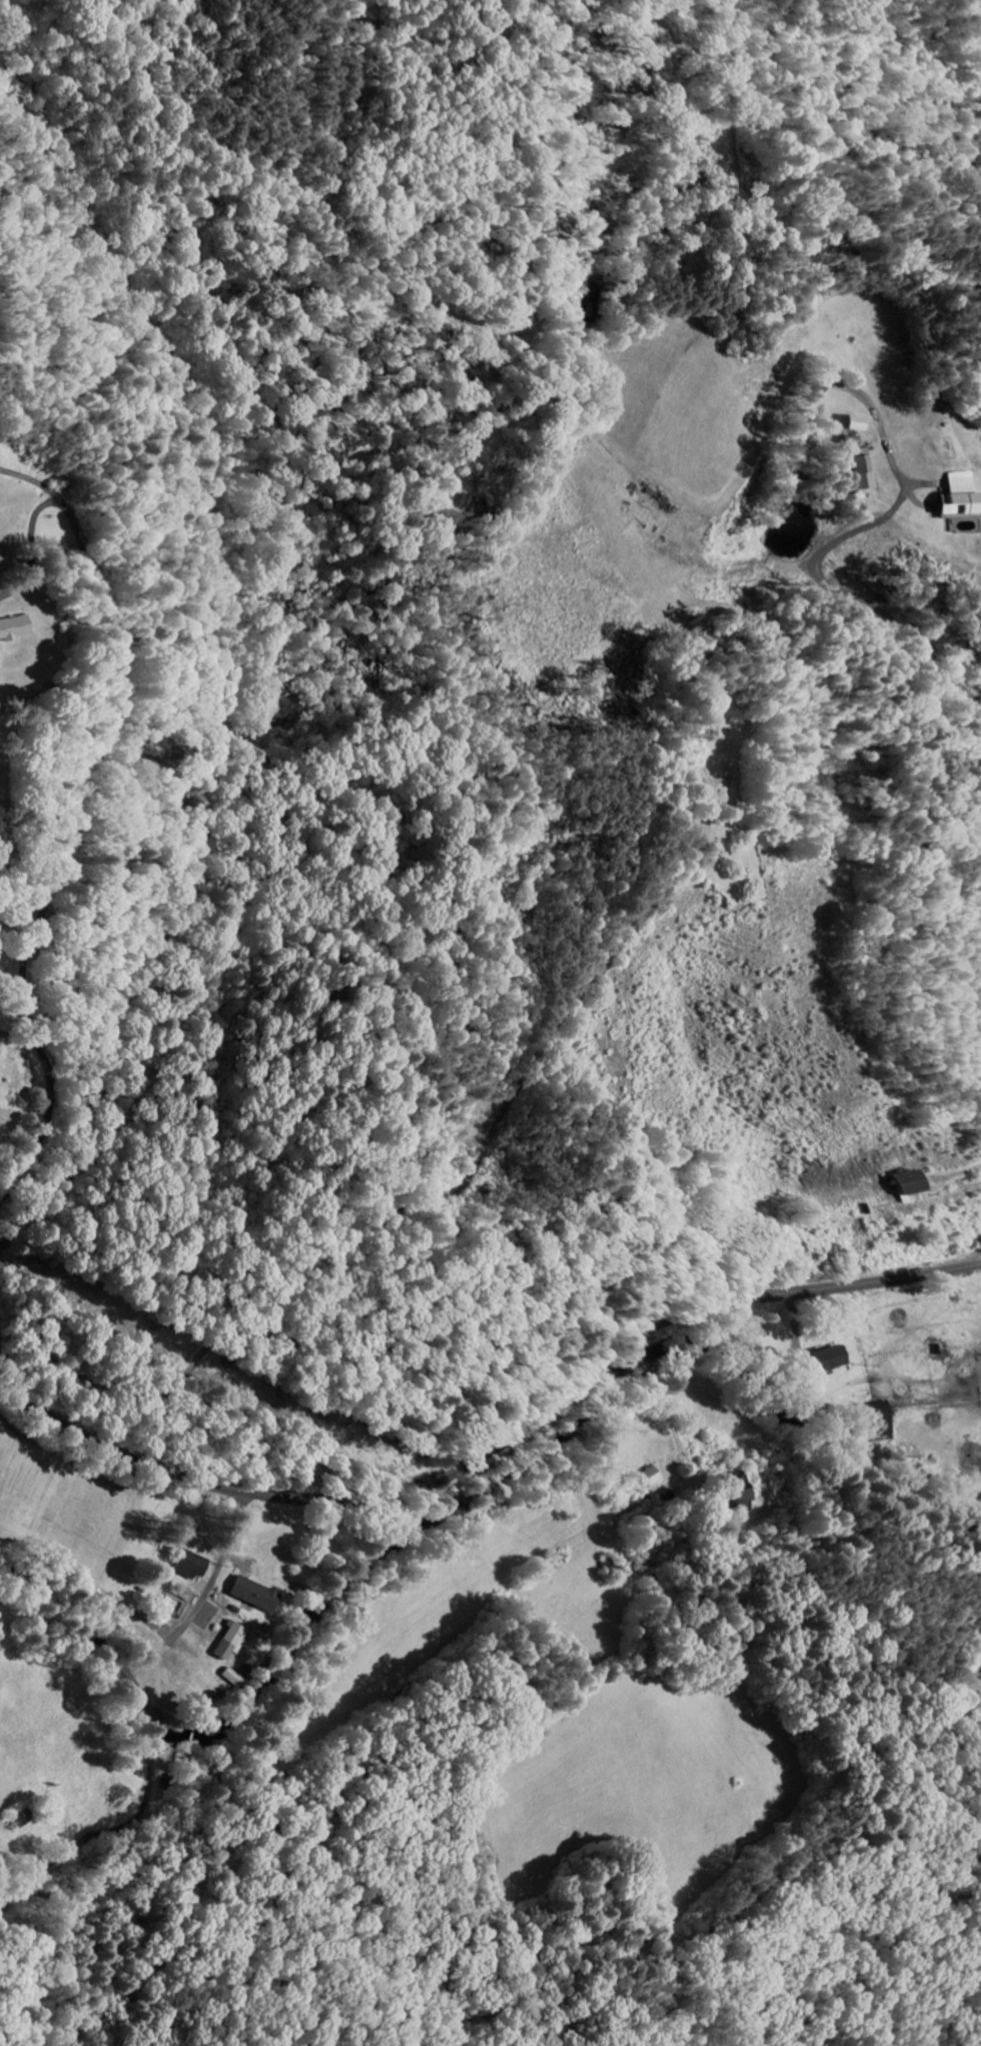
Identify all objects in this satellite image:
road: (860, 355)
building: (854, 423)
building: (858, 467)
building: (954, 497)
building: (10, 626)
road: (47, 1111)
building: (915, 1187)
building: (828, 1359)
road: (490, 1451)
building: (653, 1477)
building: (745, 1496)
building: (199, 1564)
building: (263, 1594)
building: (238, 1640)
building: (237, 1677)
building: (980, 1677)

